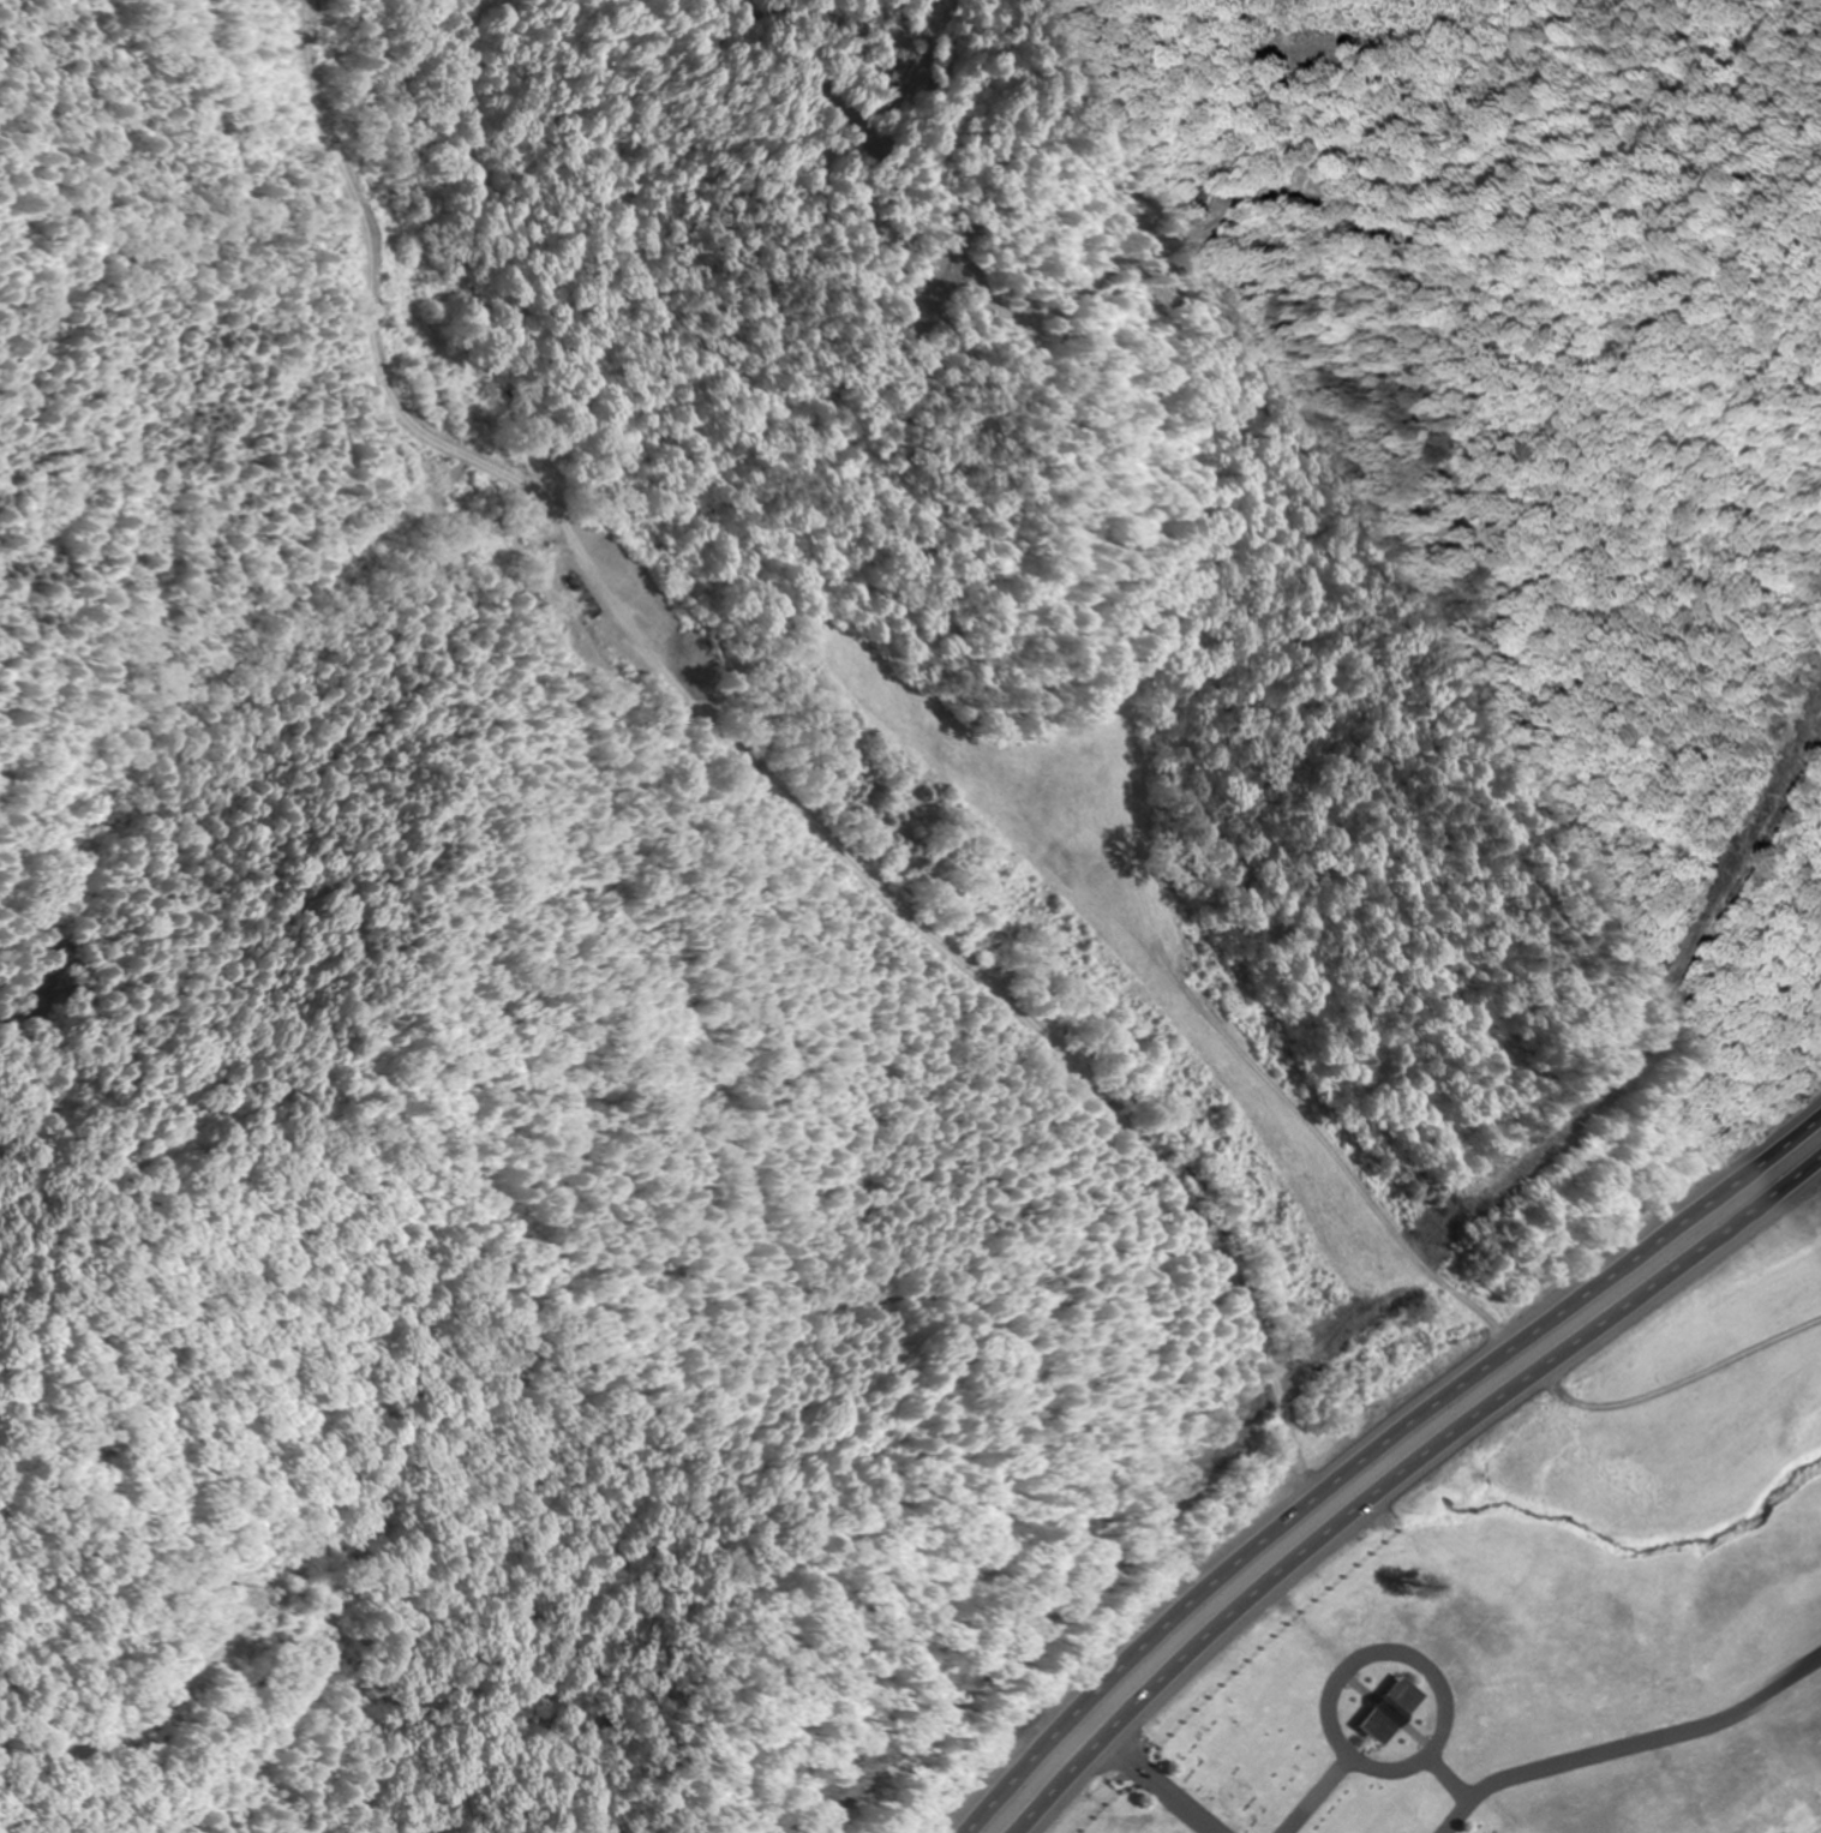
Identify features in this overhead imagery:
road: (947, 993)
road: (1373, 1445)
road: (1404, 1476)
building: (1373, 1630)

